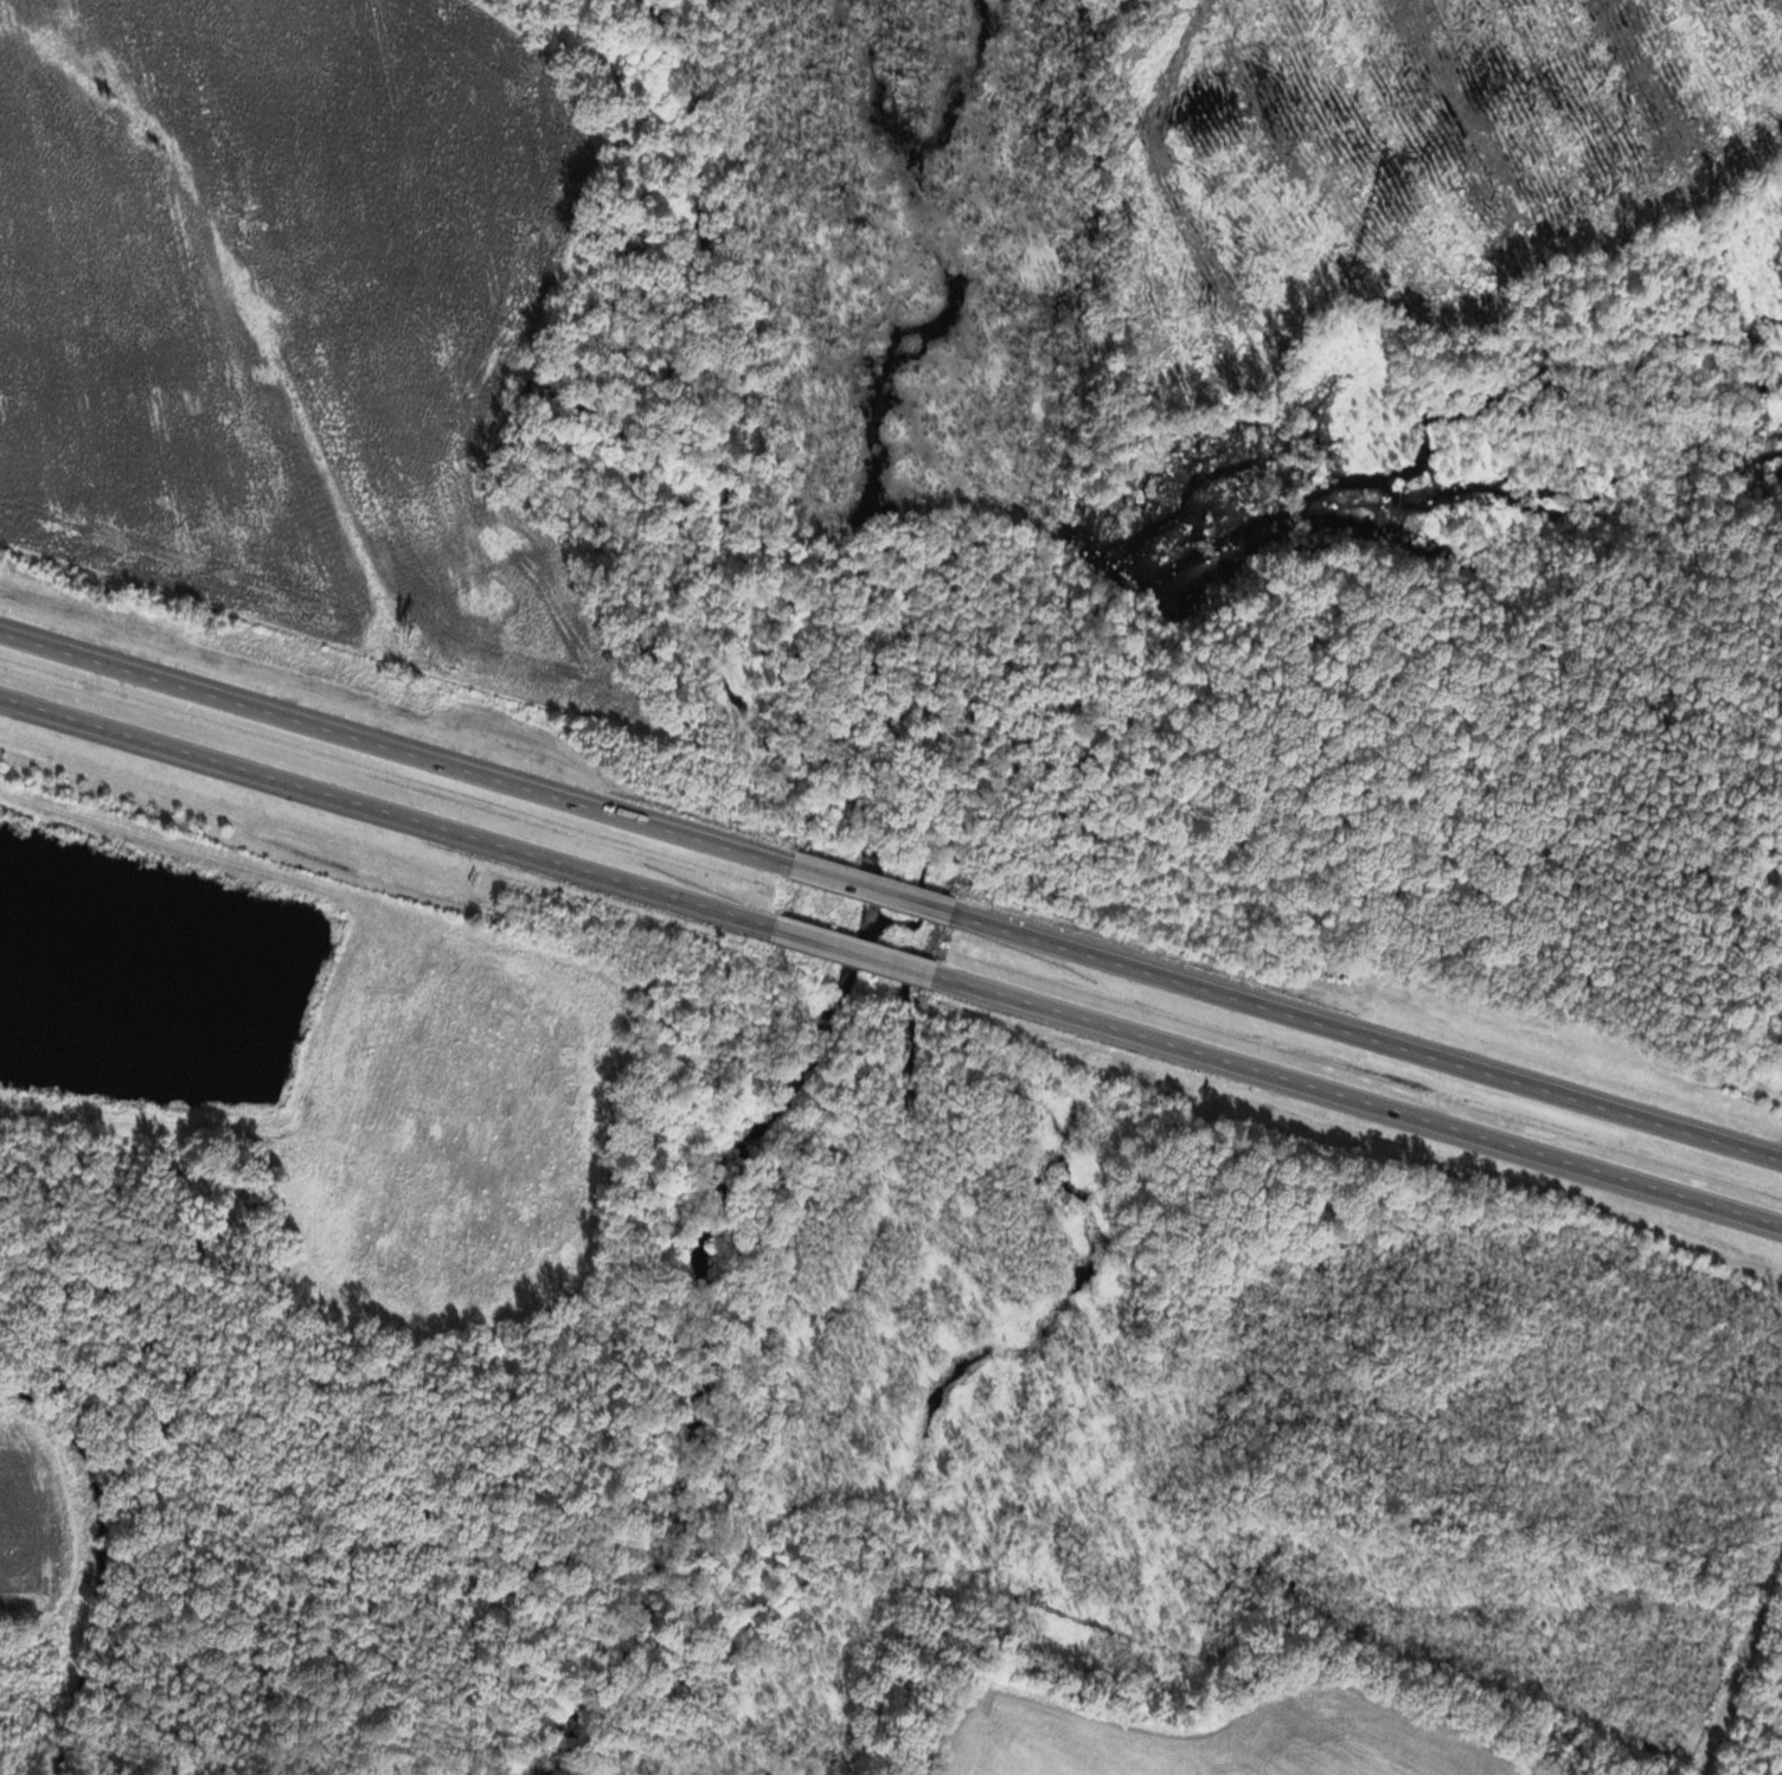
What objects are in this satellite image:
road: (396, 752)
road: (387, 815)
road: (866, 891)
road: (852, 951)
road: (1360, 1036)
road: (1354, 1097)

